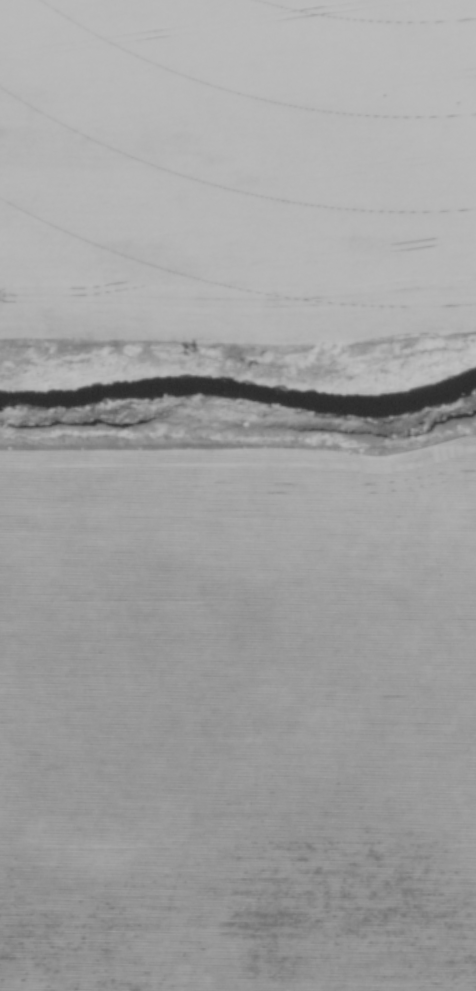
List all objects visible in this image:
river: (239, 388)

